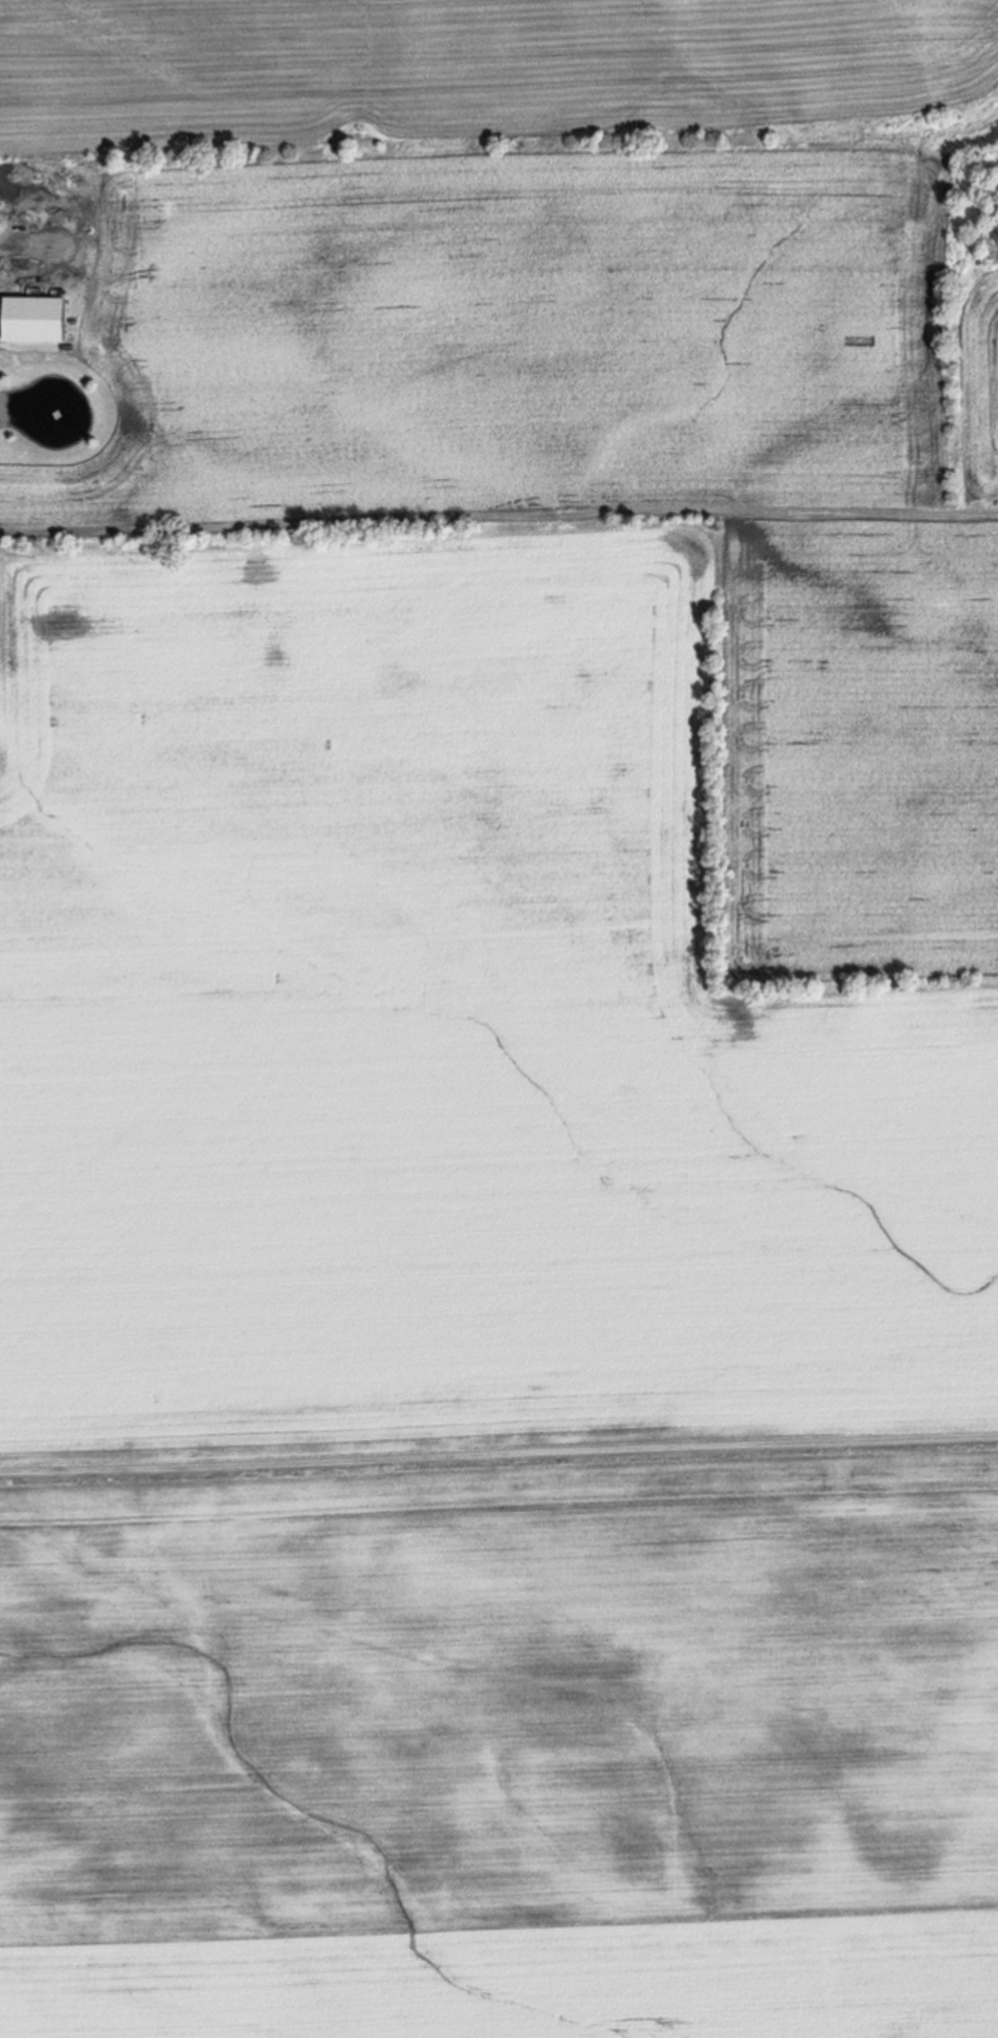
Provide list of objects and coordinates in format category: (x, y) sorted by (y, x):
building: (34, 319)
road: (498, 520)
road: (499, 1455)

